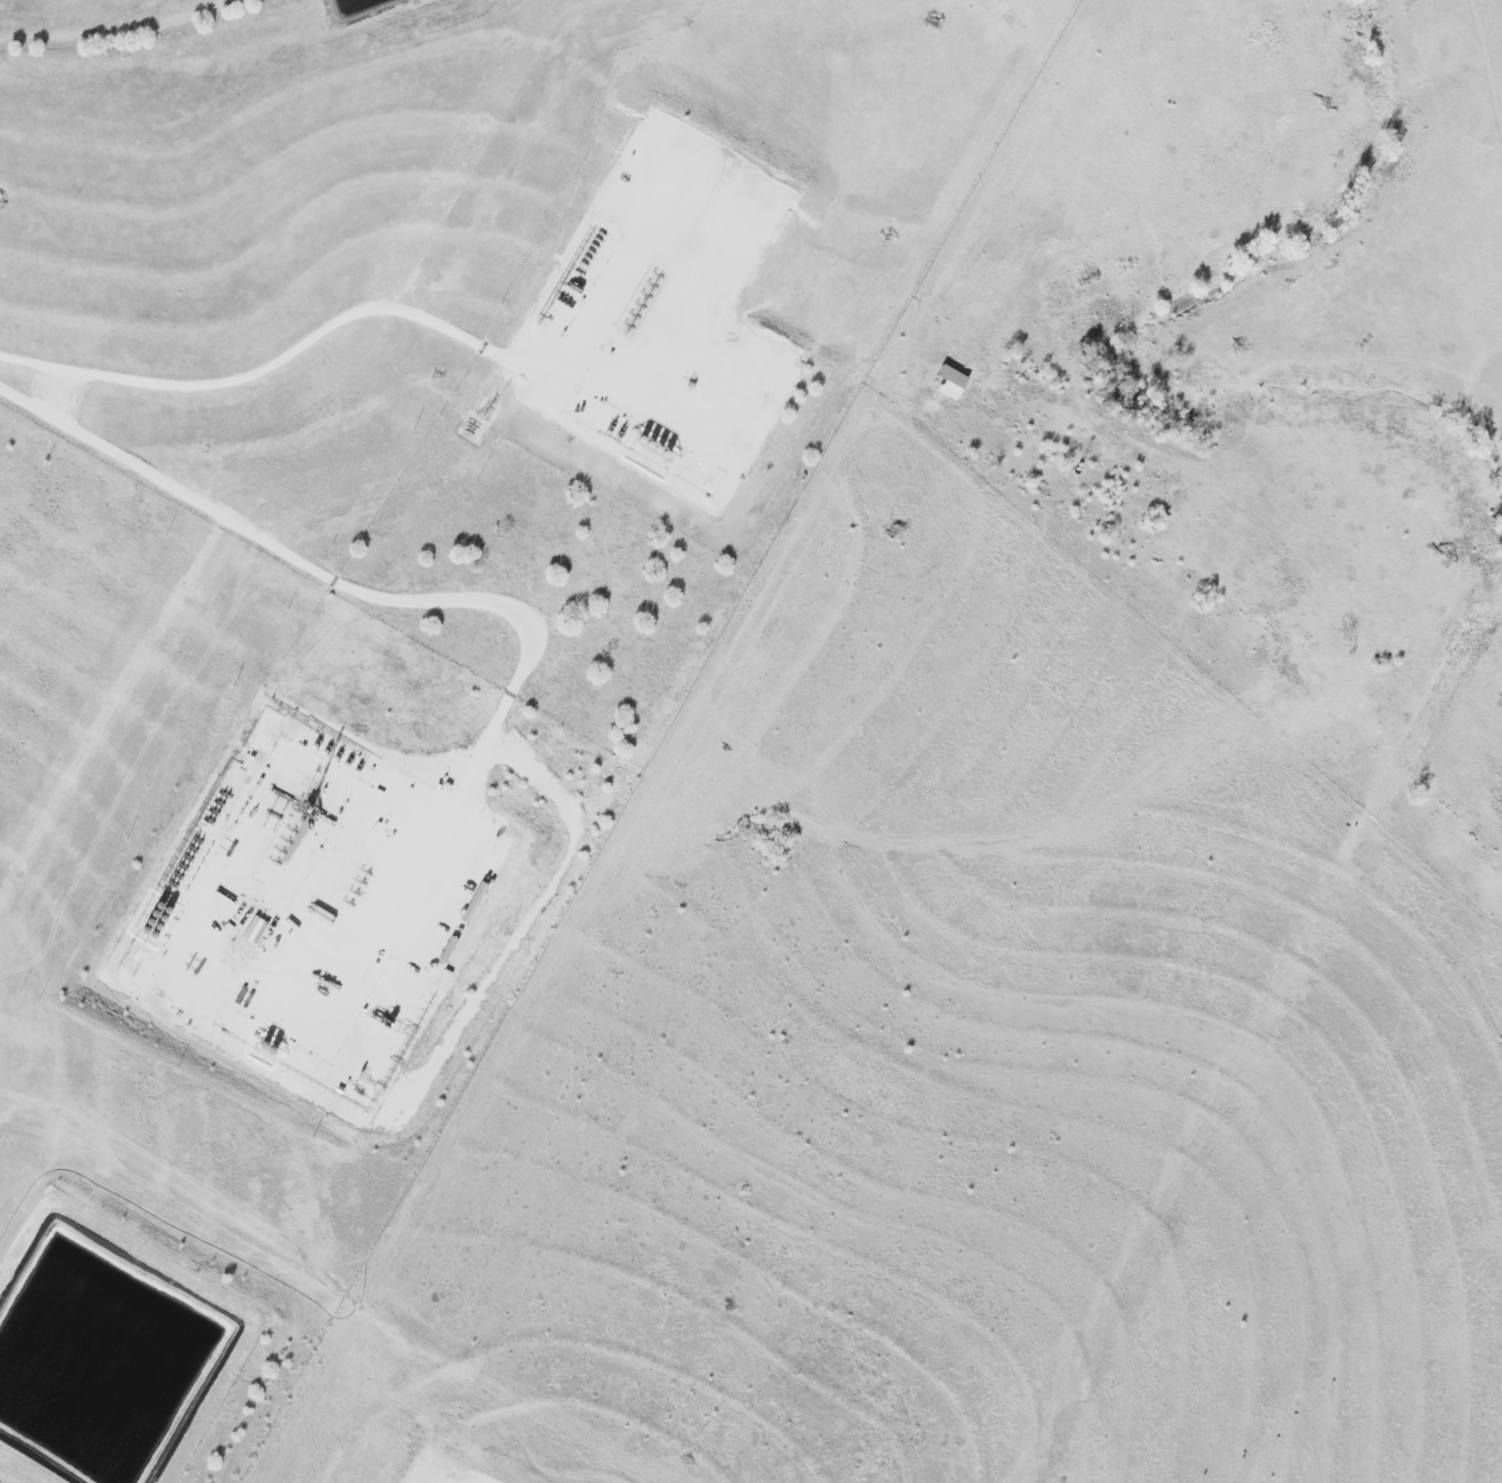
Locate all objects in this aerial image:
road: (276, 359)
building: (955, 383)
road: (504, 606)

